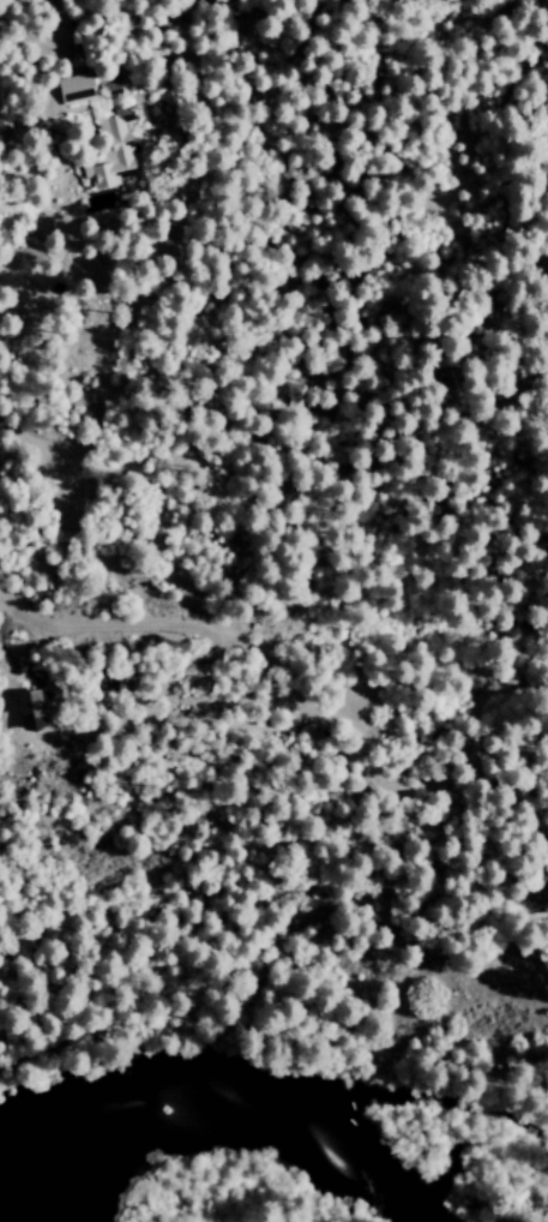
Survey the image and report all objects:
building: (102, 131)
road: (266, 654)
building: (28, 709)
road: (275, 1032)

